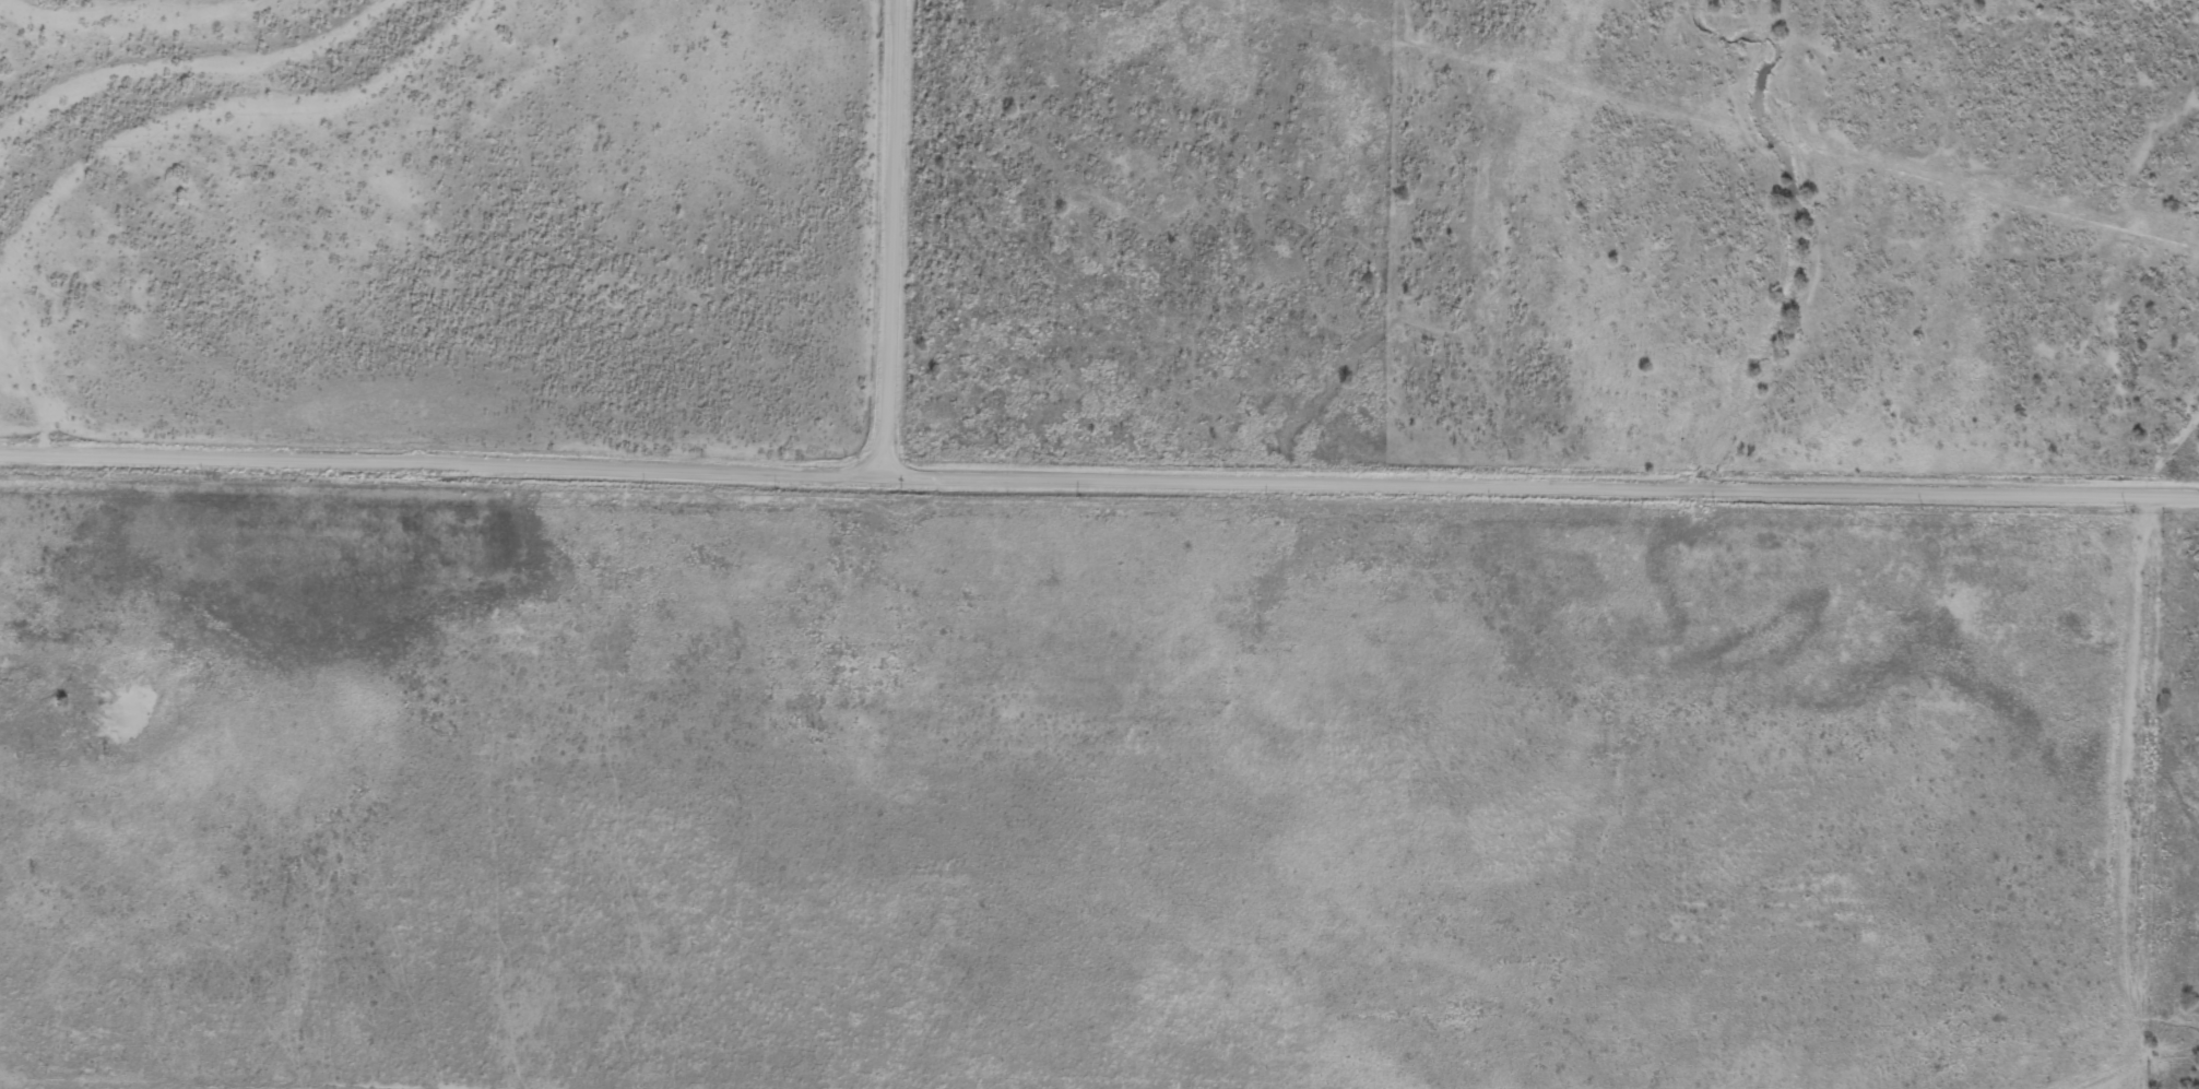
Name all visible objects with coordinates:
road: (36, 386)
road: (670, 470)
road: (1524, 484)

